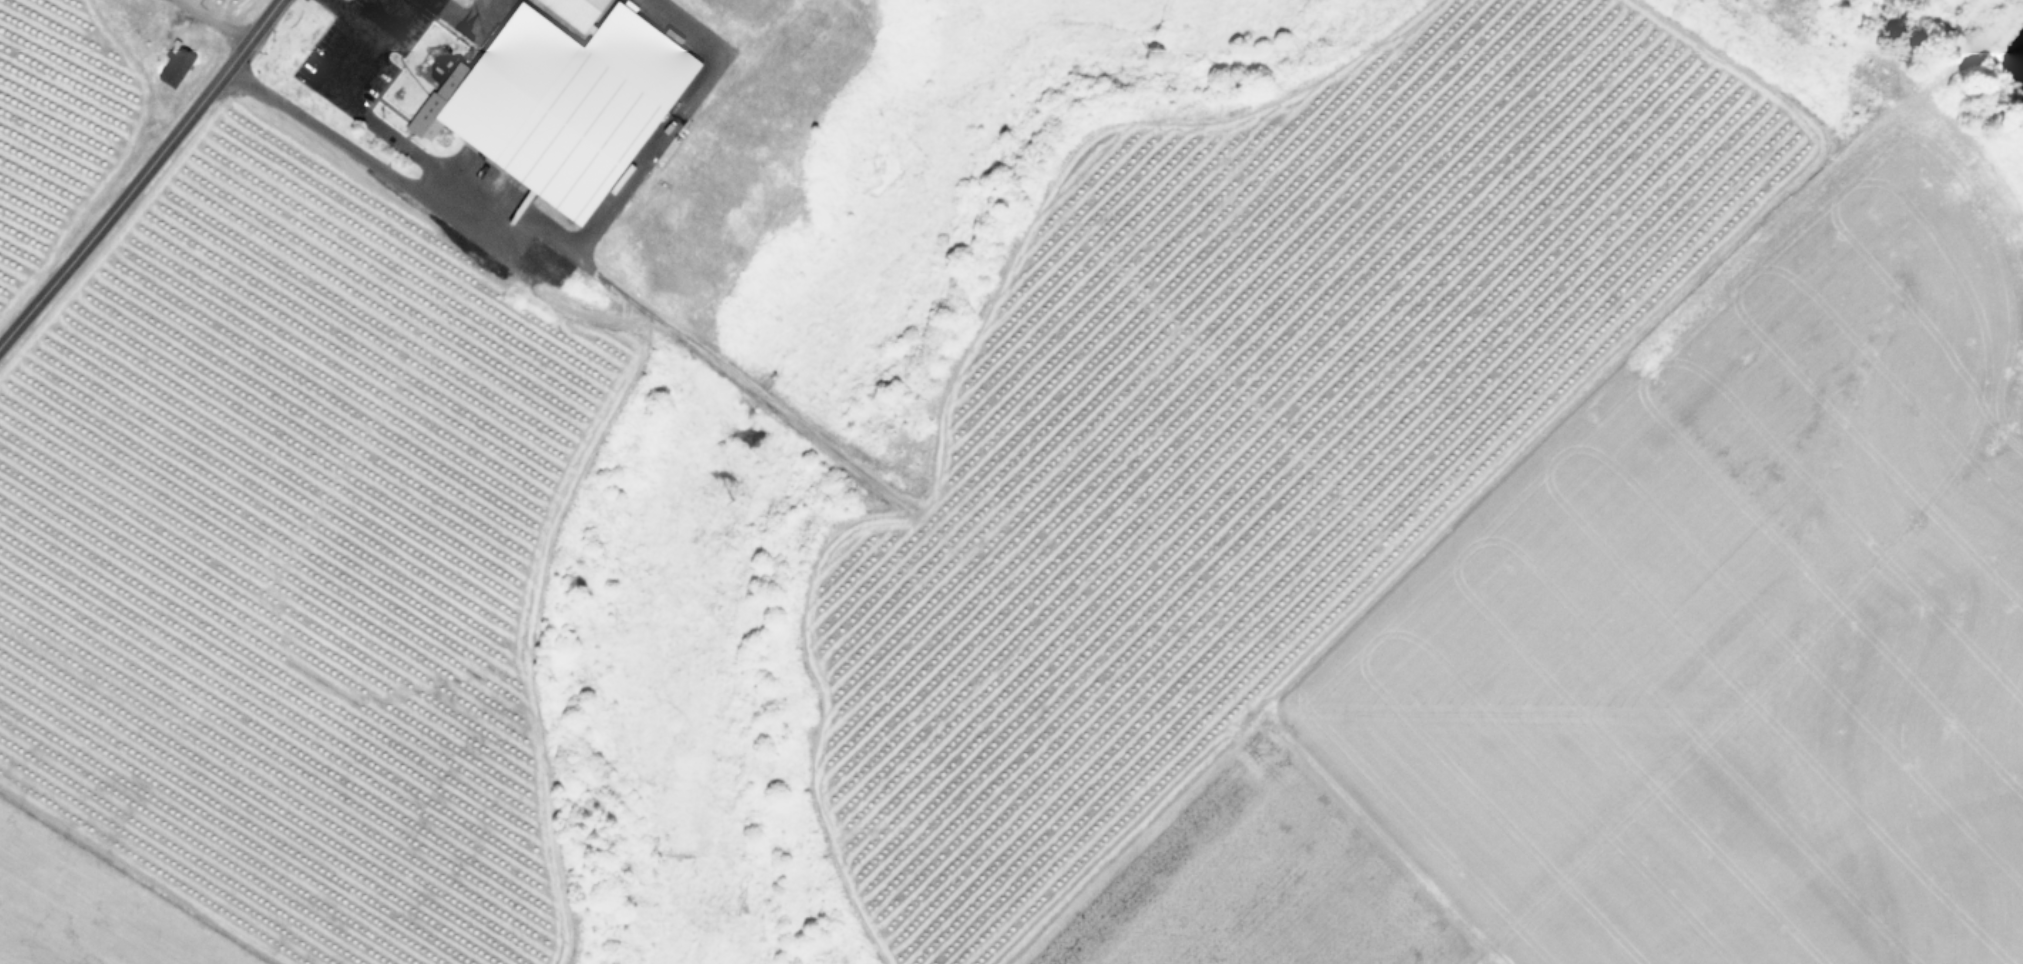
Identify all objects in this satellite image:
building: (469, 2)
building: (573, 11)
road: (386, 16)
road: (464, 20)
building: (172, 64)
crop: (73, 94)
building: (558, 102)
road: (141, 174)
road: (634, 174)
road: (438, 177)
crop: (1037, 507)

